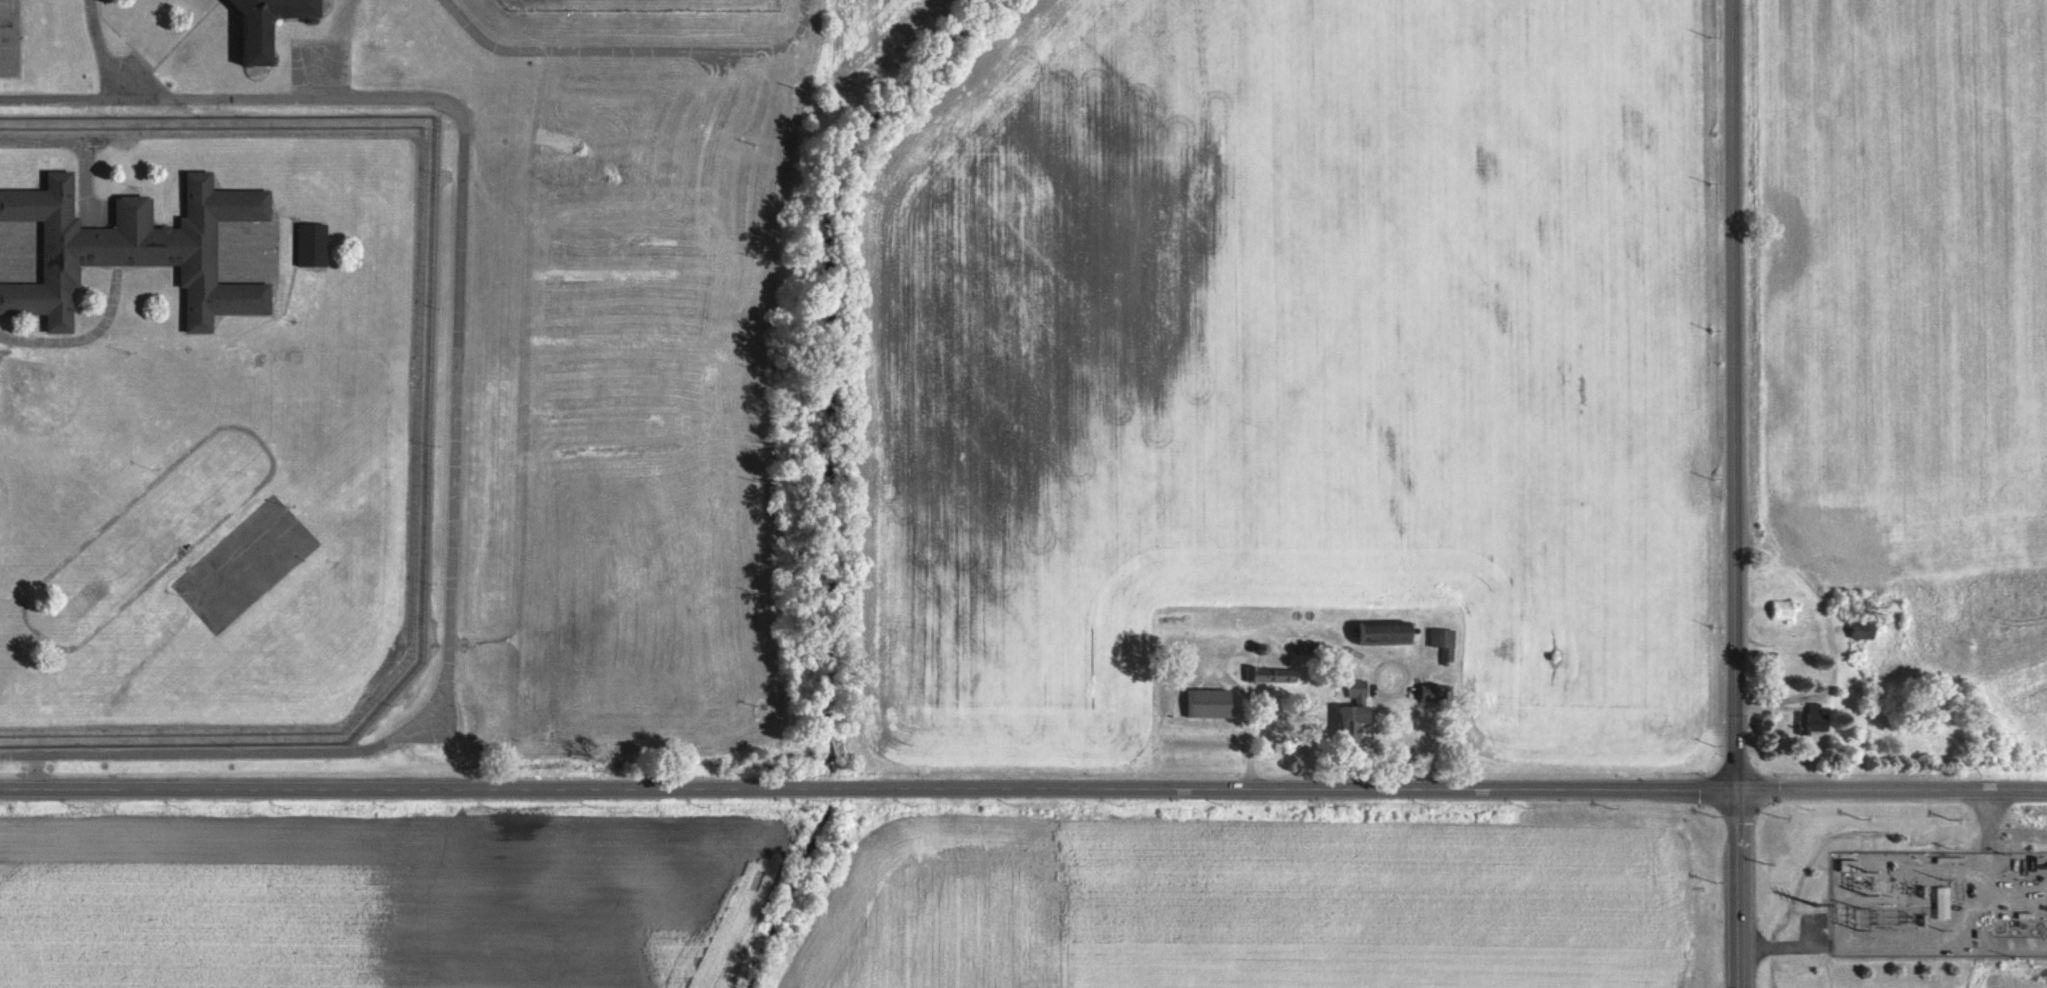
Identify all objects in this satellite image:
building: (257, 41)
road: (97, 48)
building: (309, 246)
building: (125, 247)
road: (455, 404)
road: (1736, 493)
building: (1387, 633)
building: (1855, 634)
building: (1445, 642)
building: (1269, 675)
building: (1359, 685)
building: (1196, 709)
building: (1356, 717)
building: (1812, 719)
road: (869, 792)
road: (1893, 793)
road: (1991, 822)
building: (1938, 903)
power tower: (1817, 905)
power substation: (1939, 905)
road: (1816, 931)
road: (1785, 947)

